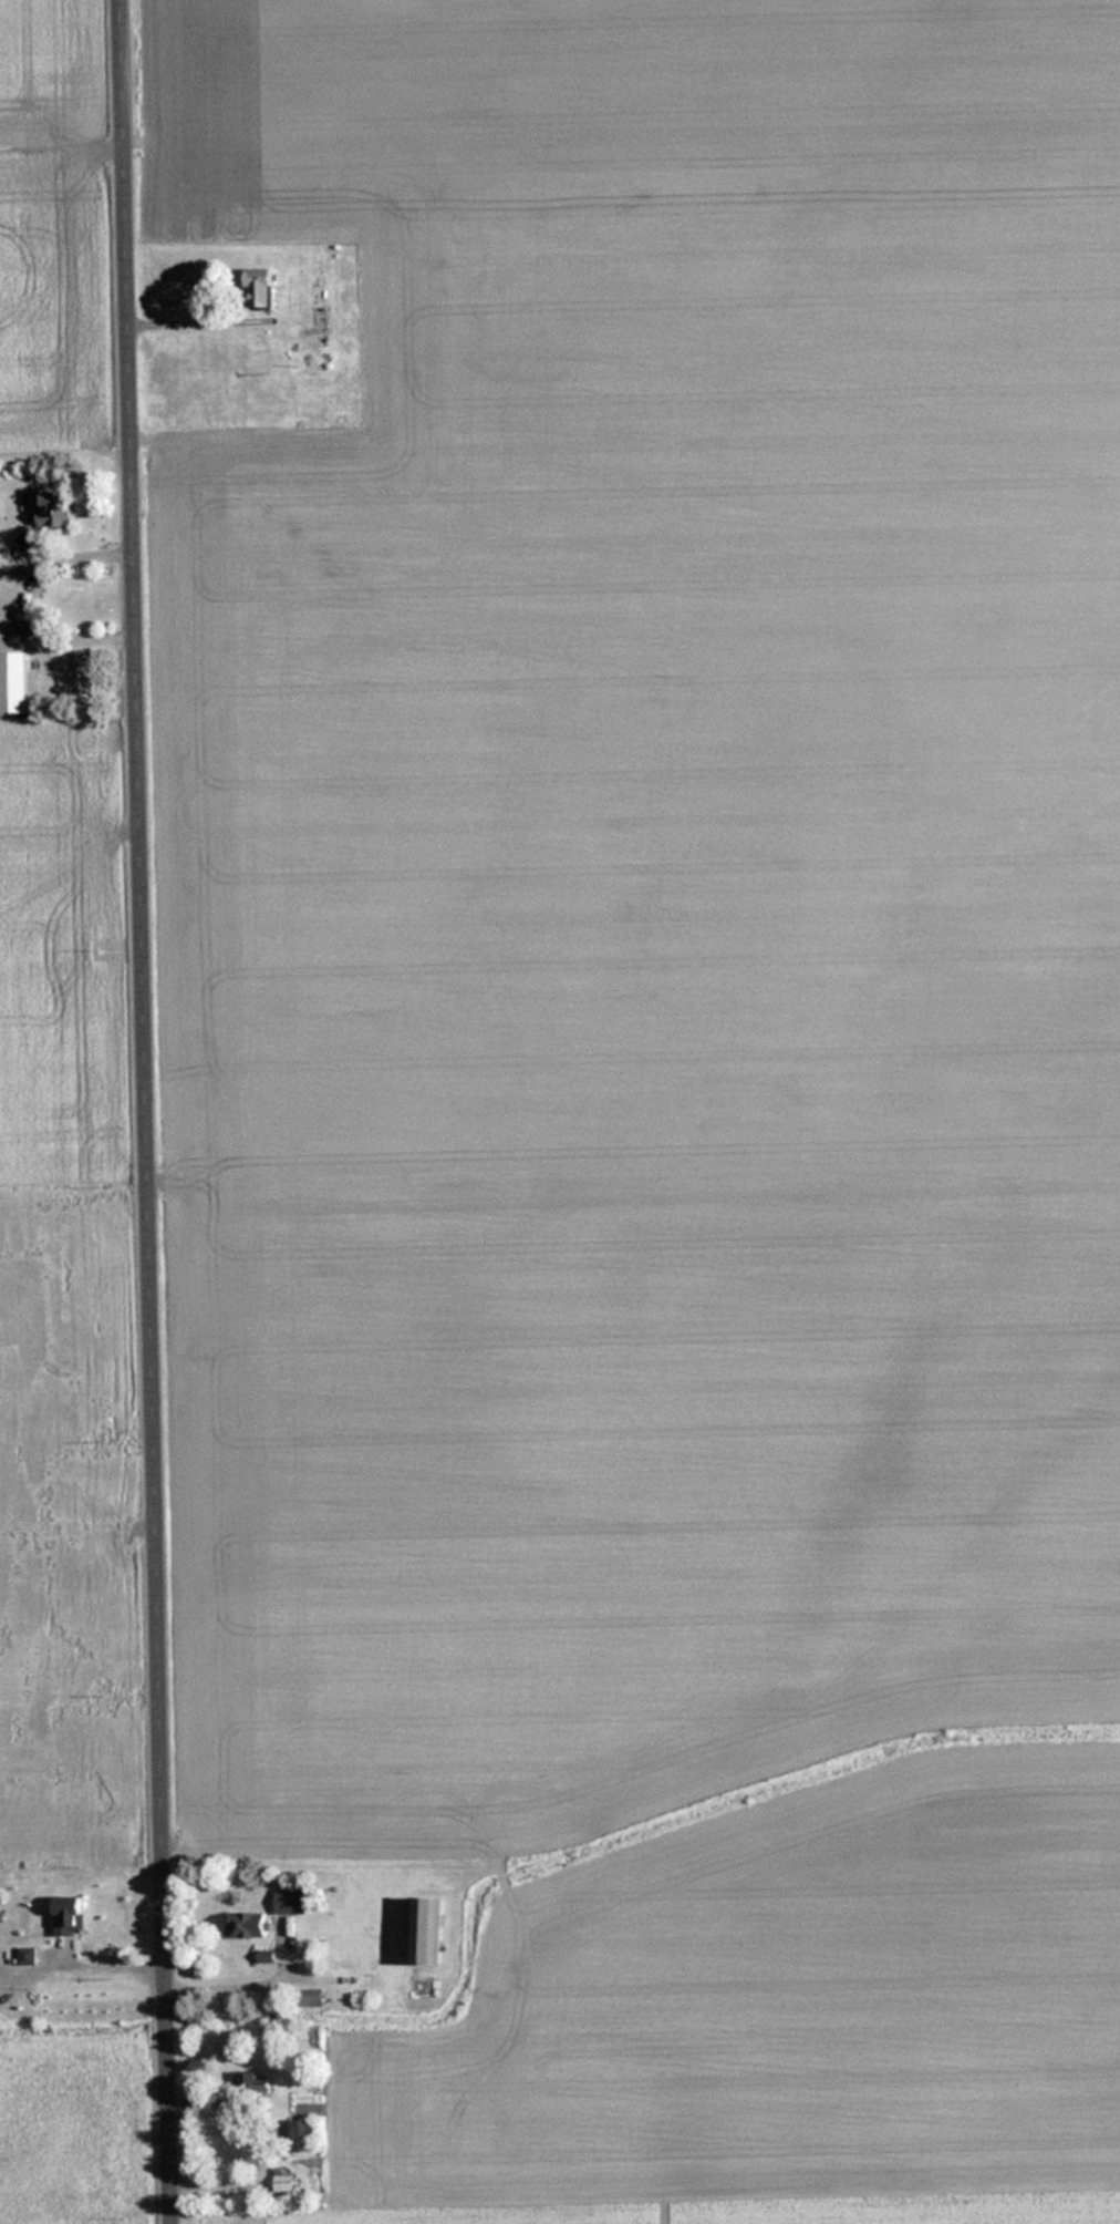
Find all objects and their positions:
building: (263, 287)
building: (56, 507)
building: (14, 681)
road: (152, 1112)
building: (291, 1902)
building: (71, 1916)
building: (248, 1926)
building: (428, 1930)
building: (28, 1956)
building: (258, 2084)
building: (303, 2135)
building: (284, 2179)

